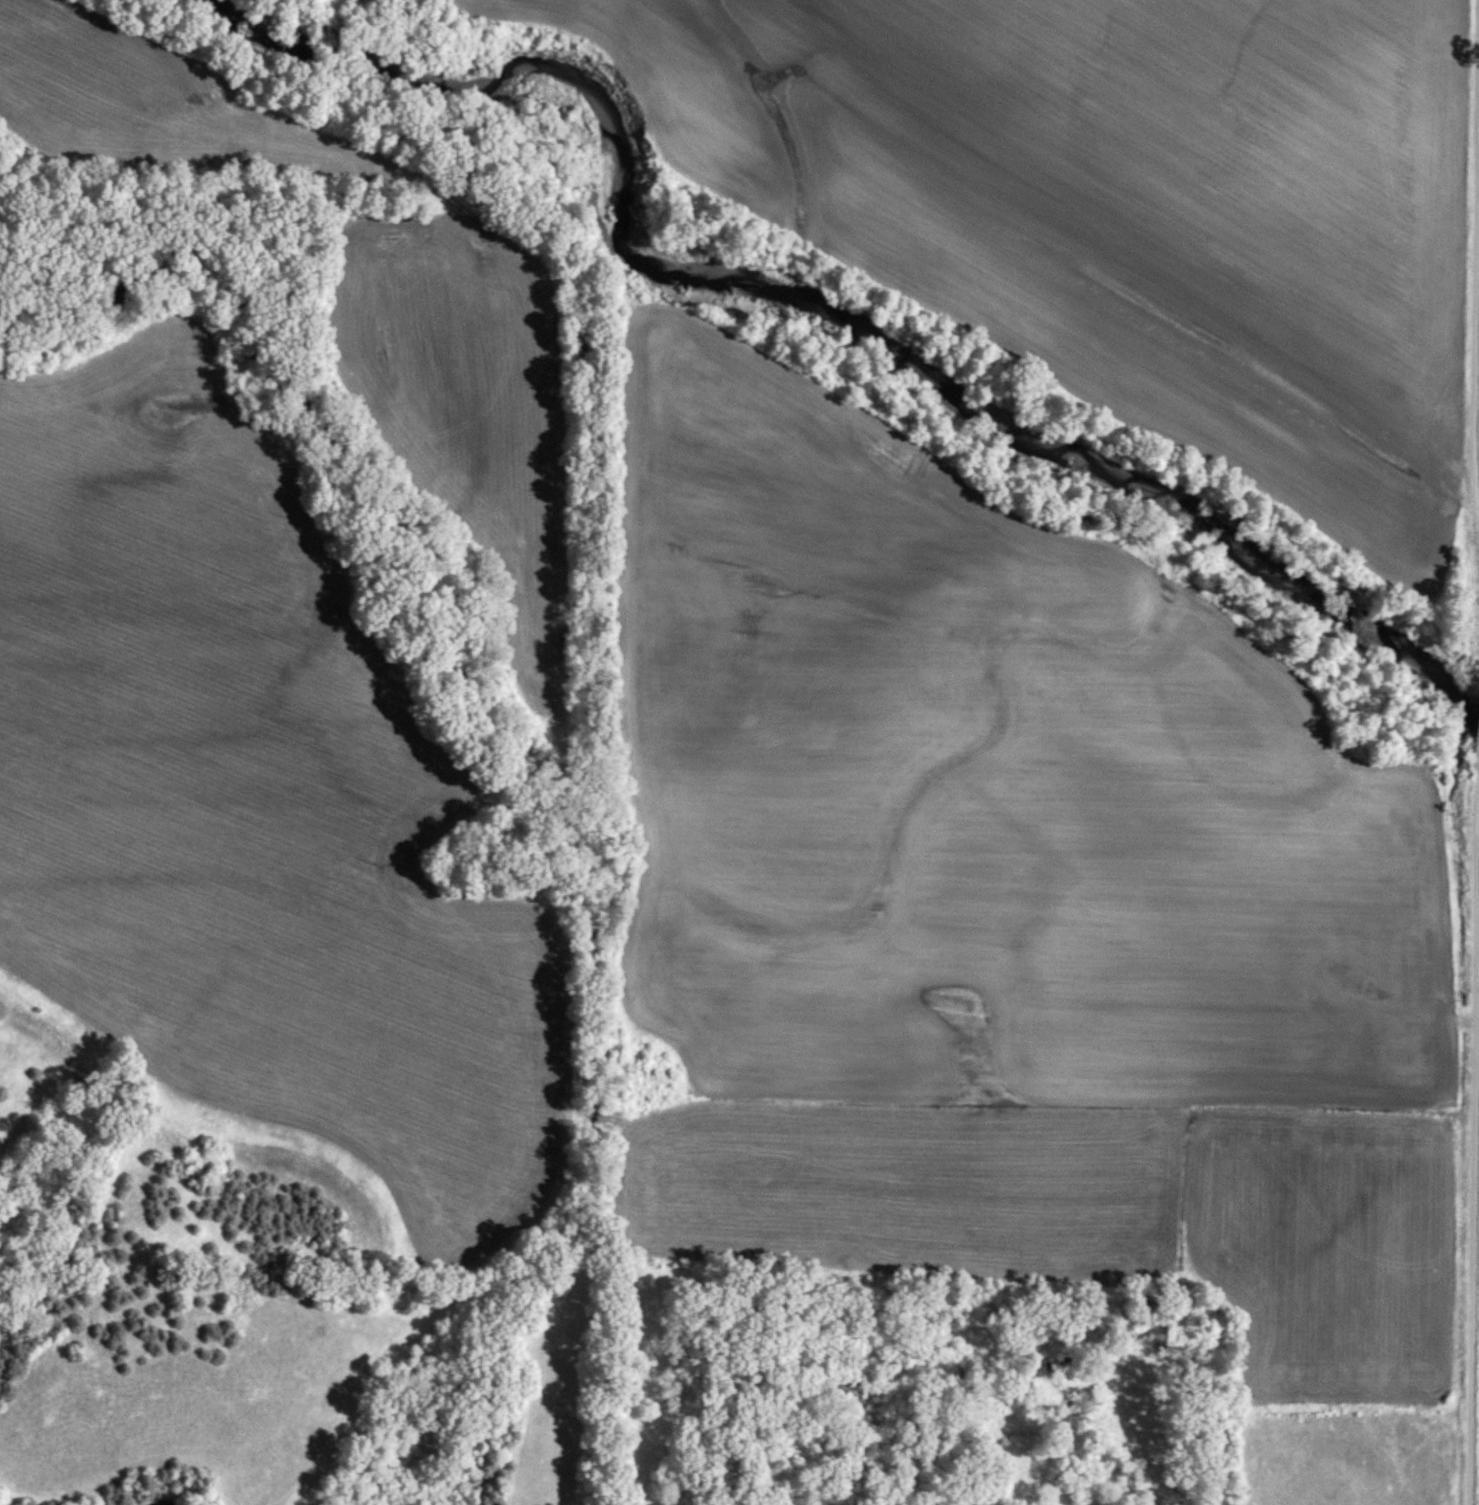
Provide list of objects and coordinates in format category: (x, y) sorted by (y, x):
road: (1475, 344)
road: (1478, 729)
road: (1478, 802)
road: (1475, 1273)

